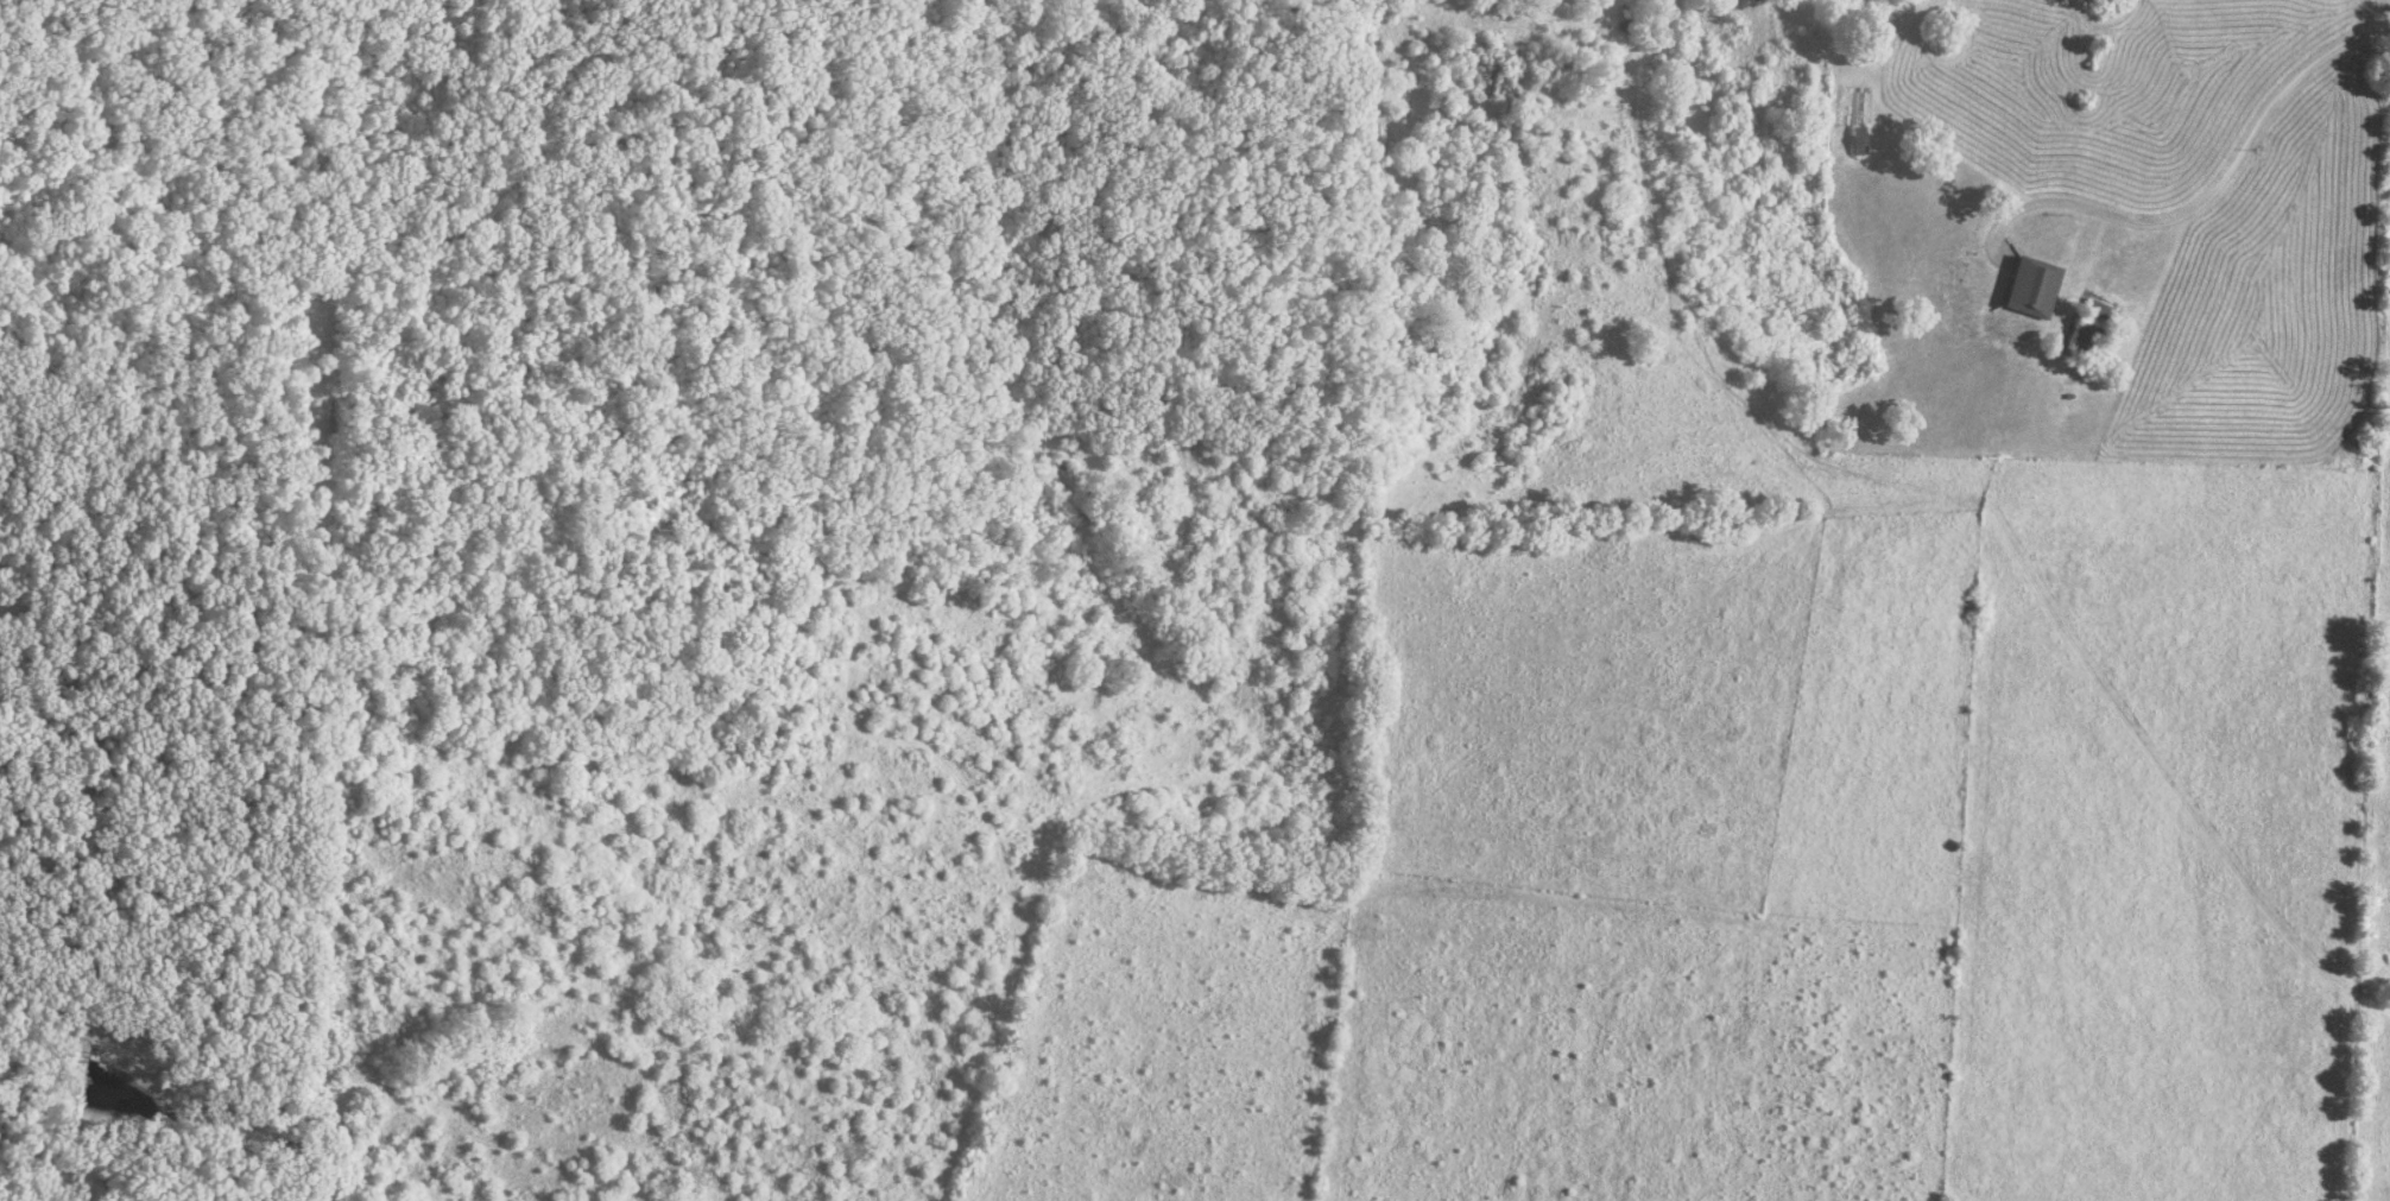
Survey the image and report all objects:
road: (2214, 192)
building: (2034, 289)
building: (2091, 324)

